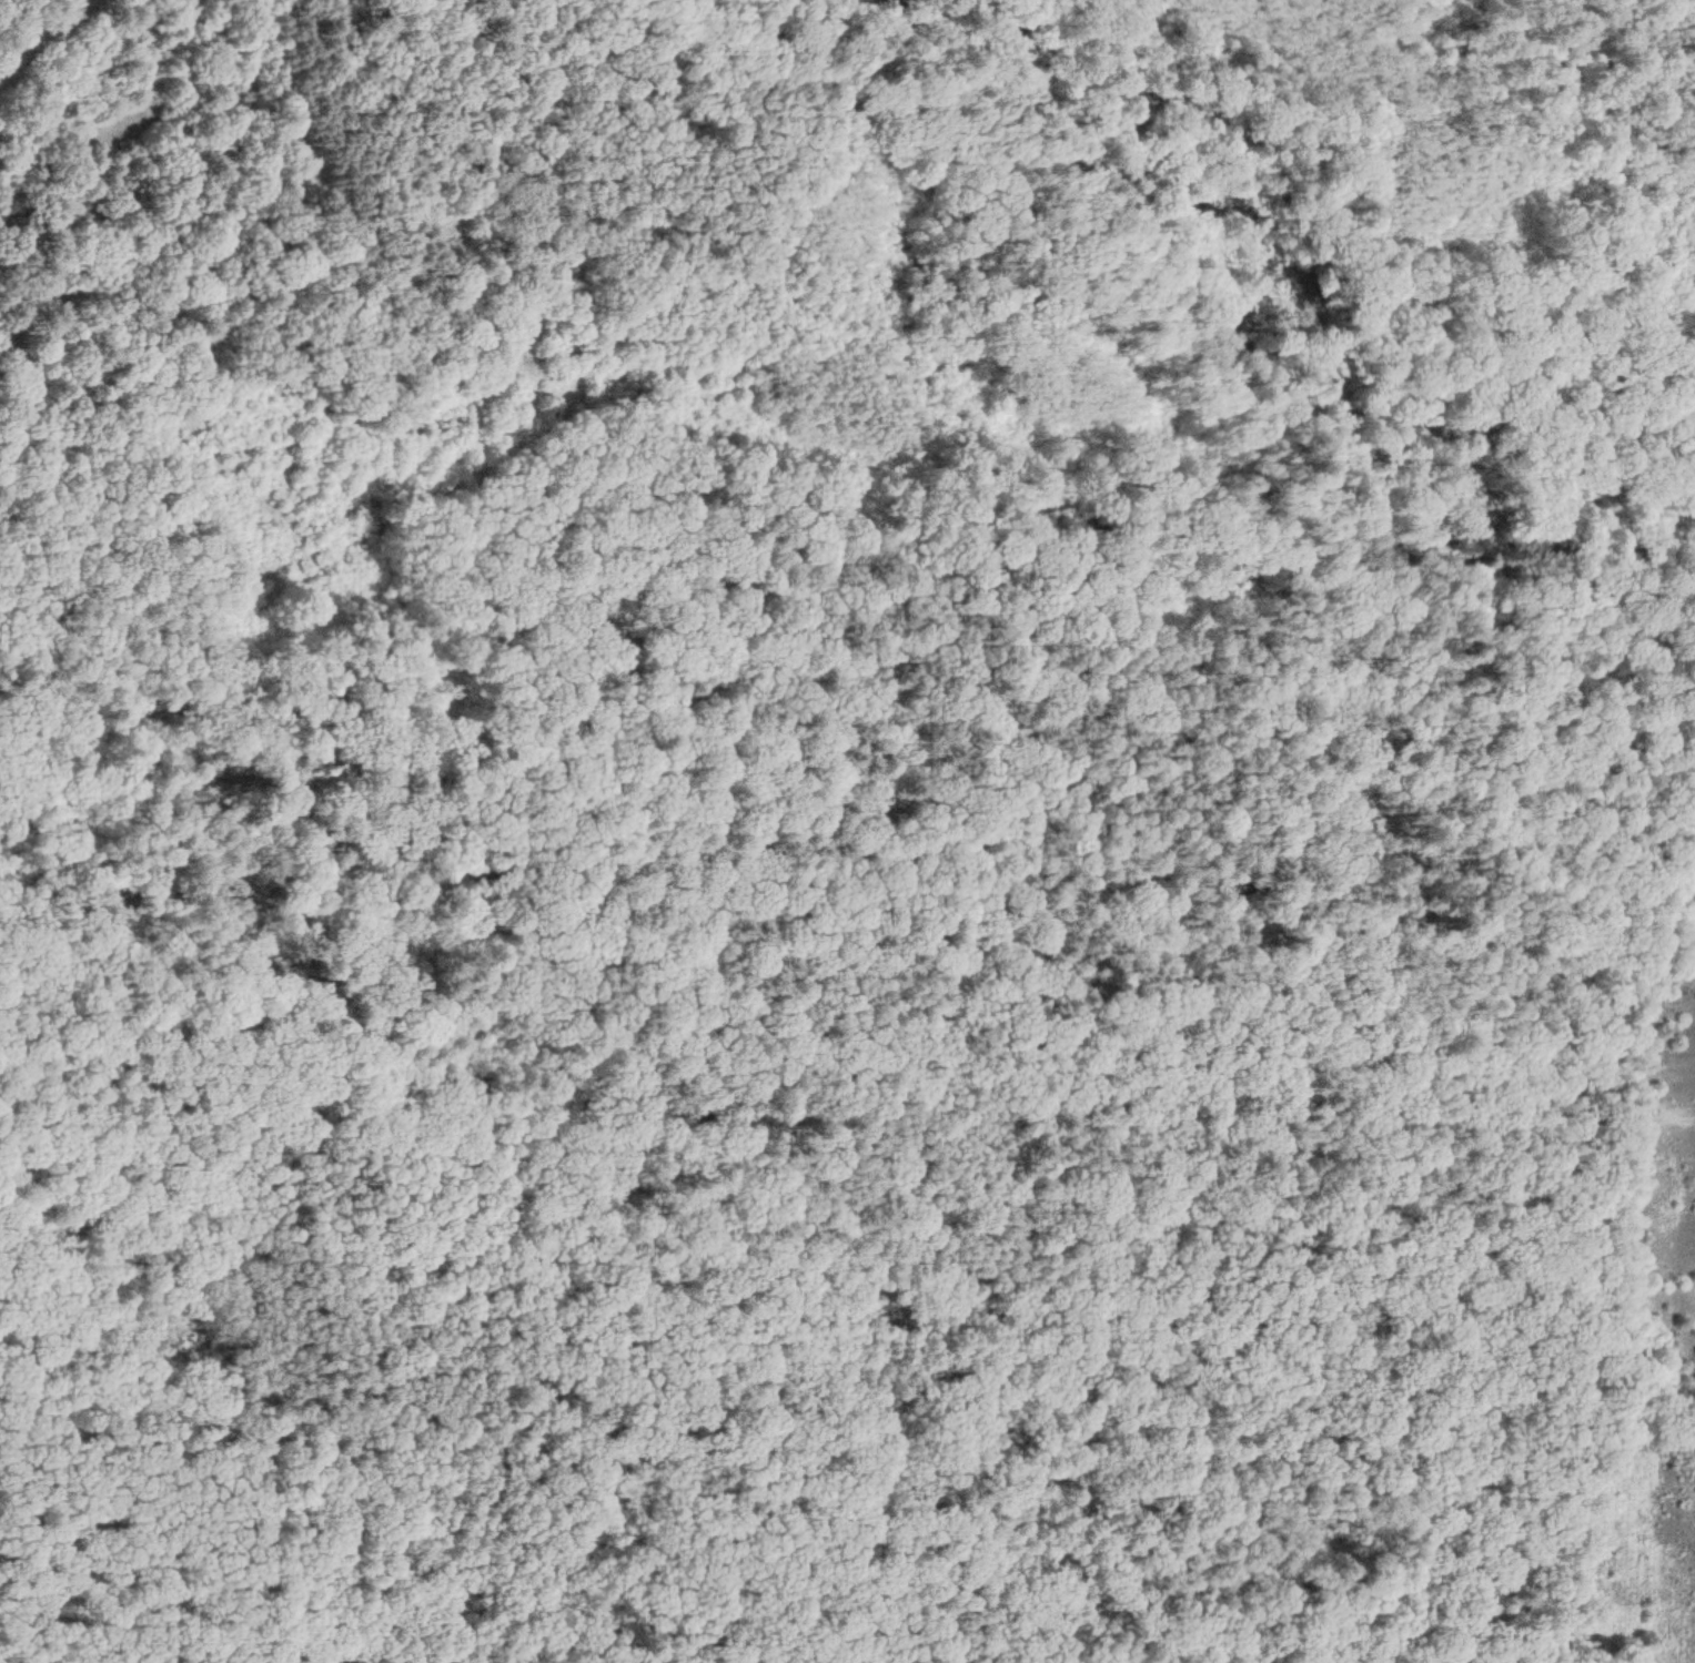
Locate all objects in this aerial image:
road: (1606, 237)
road: (1606, 1301)

